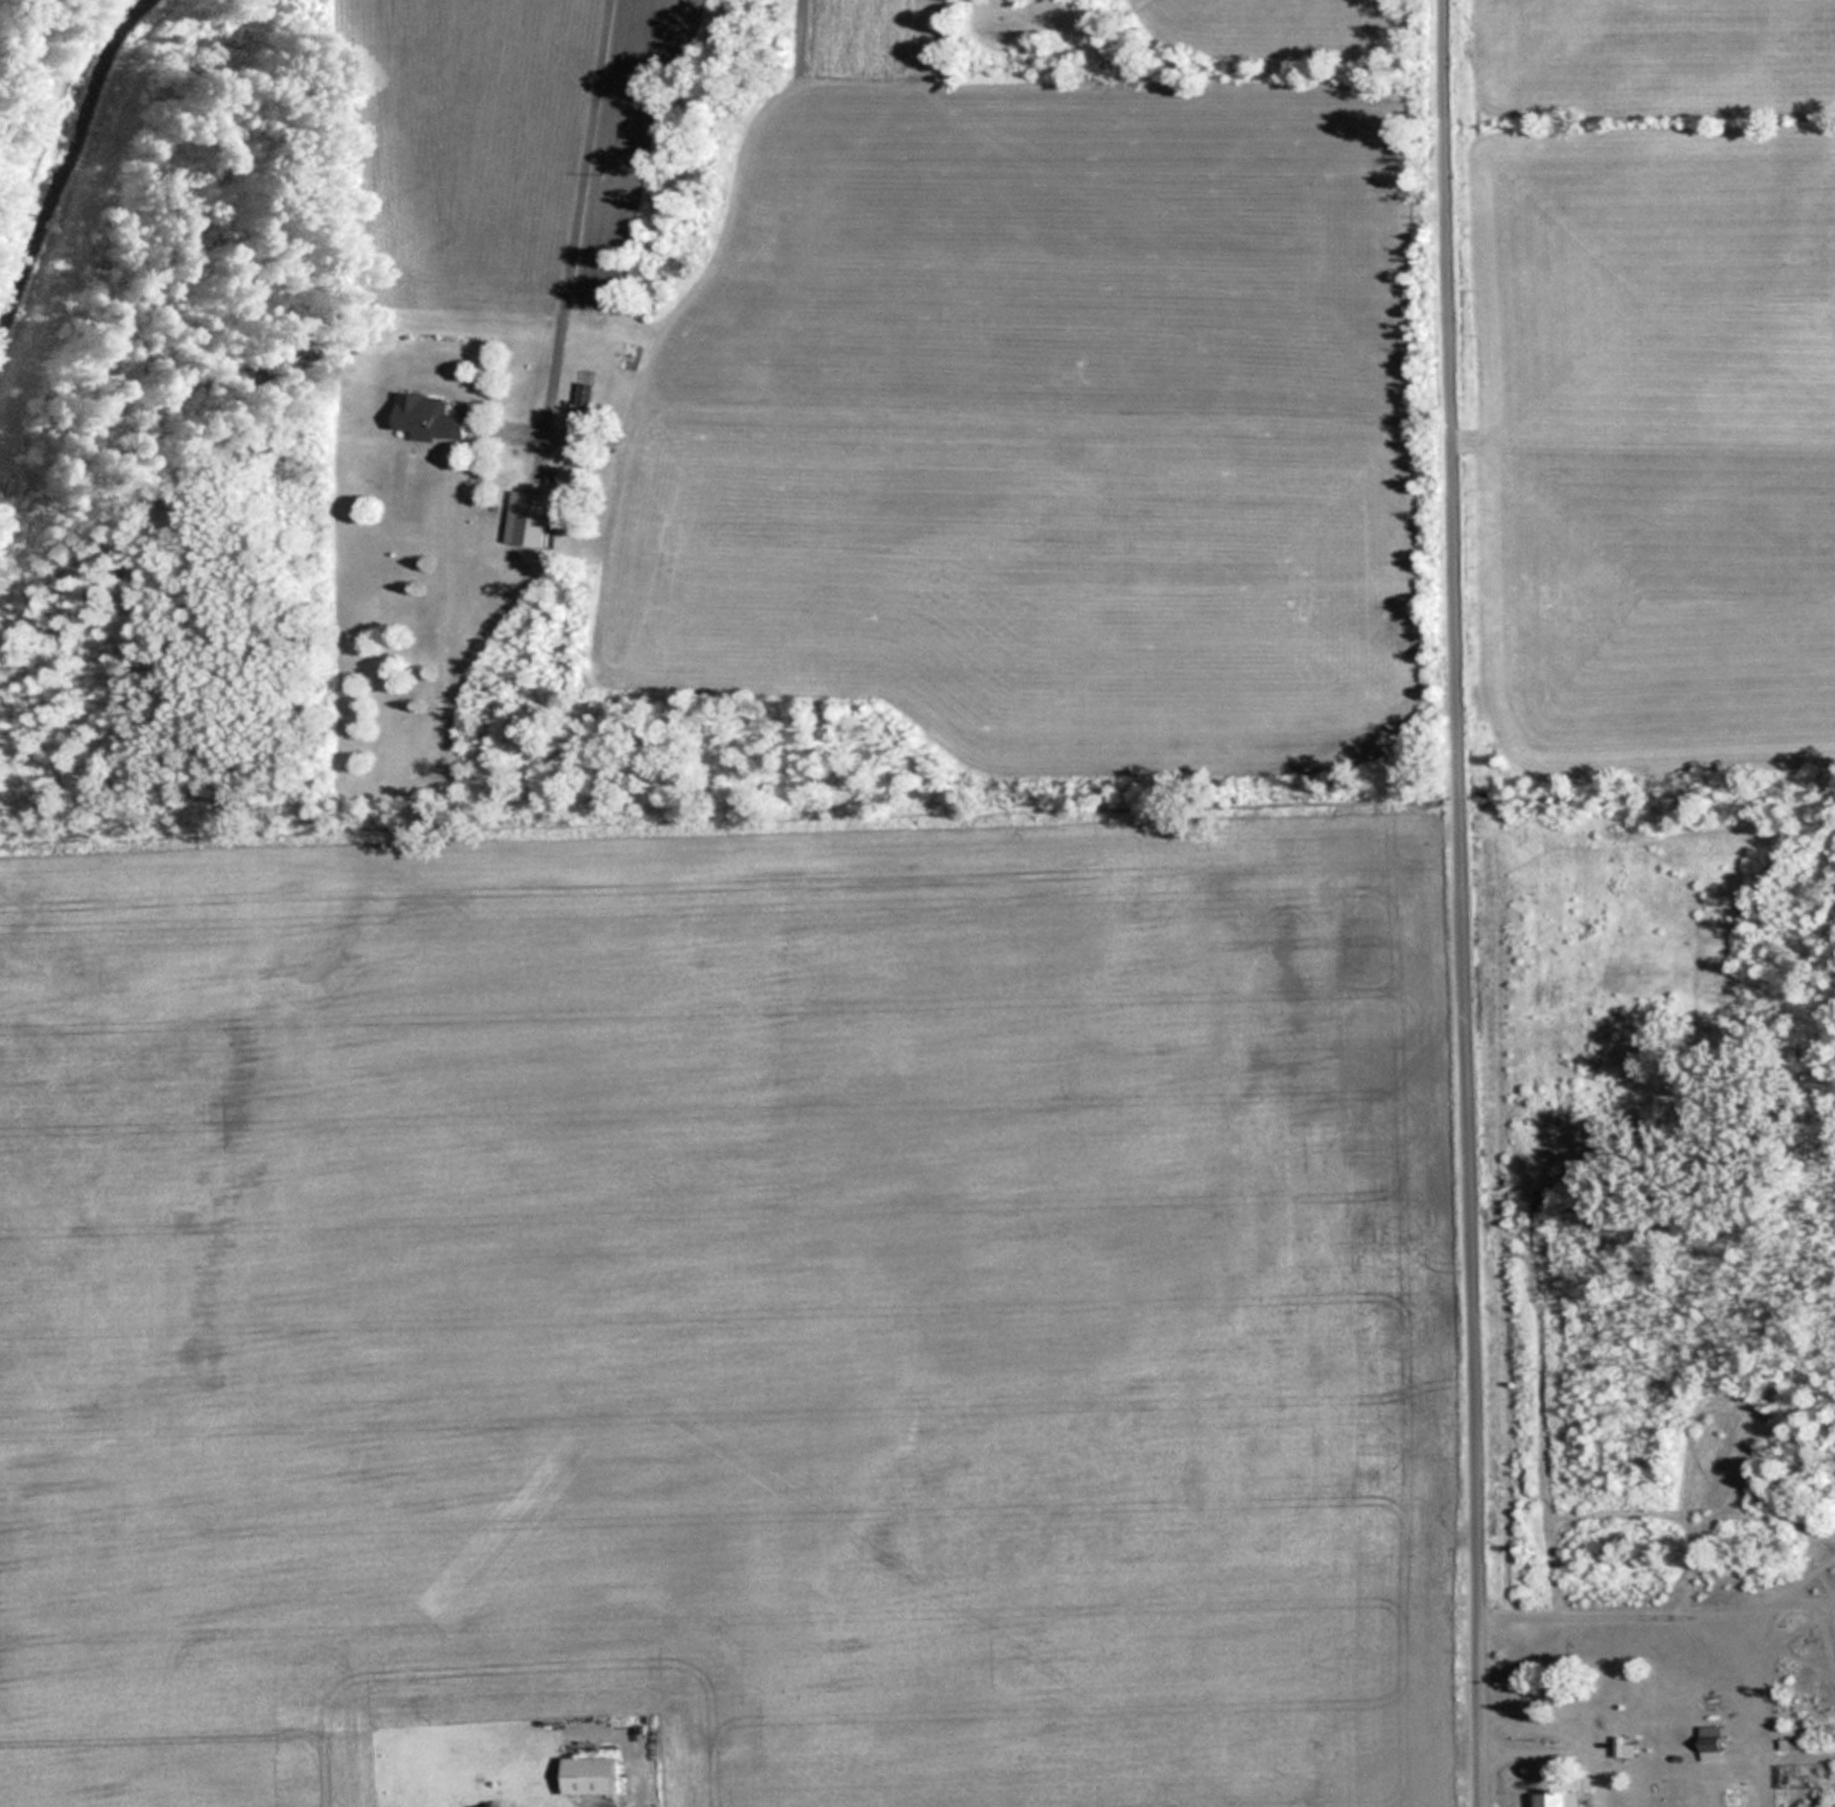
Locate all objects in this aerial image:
road: (573, 229)
building: (430, 417)
road: (1462, 902)
building: (1711, 1739)
building: (591, 1775)
building: (1553, 1800)

